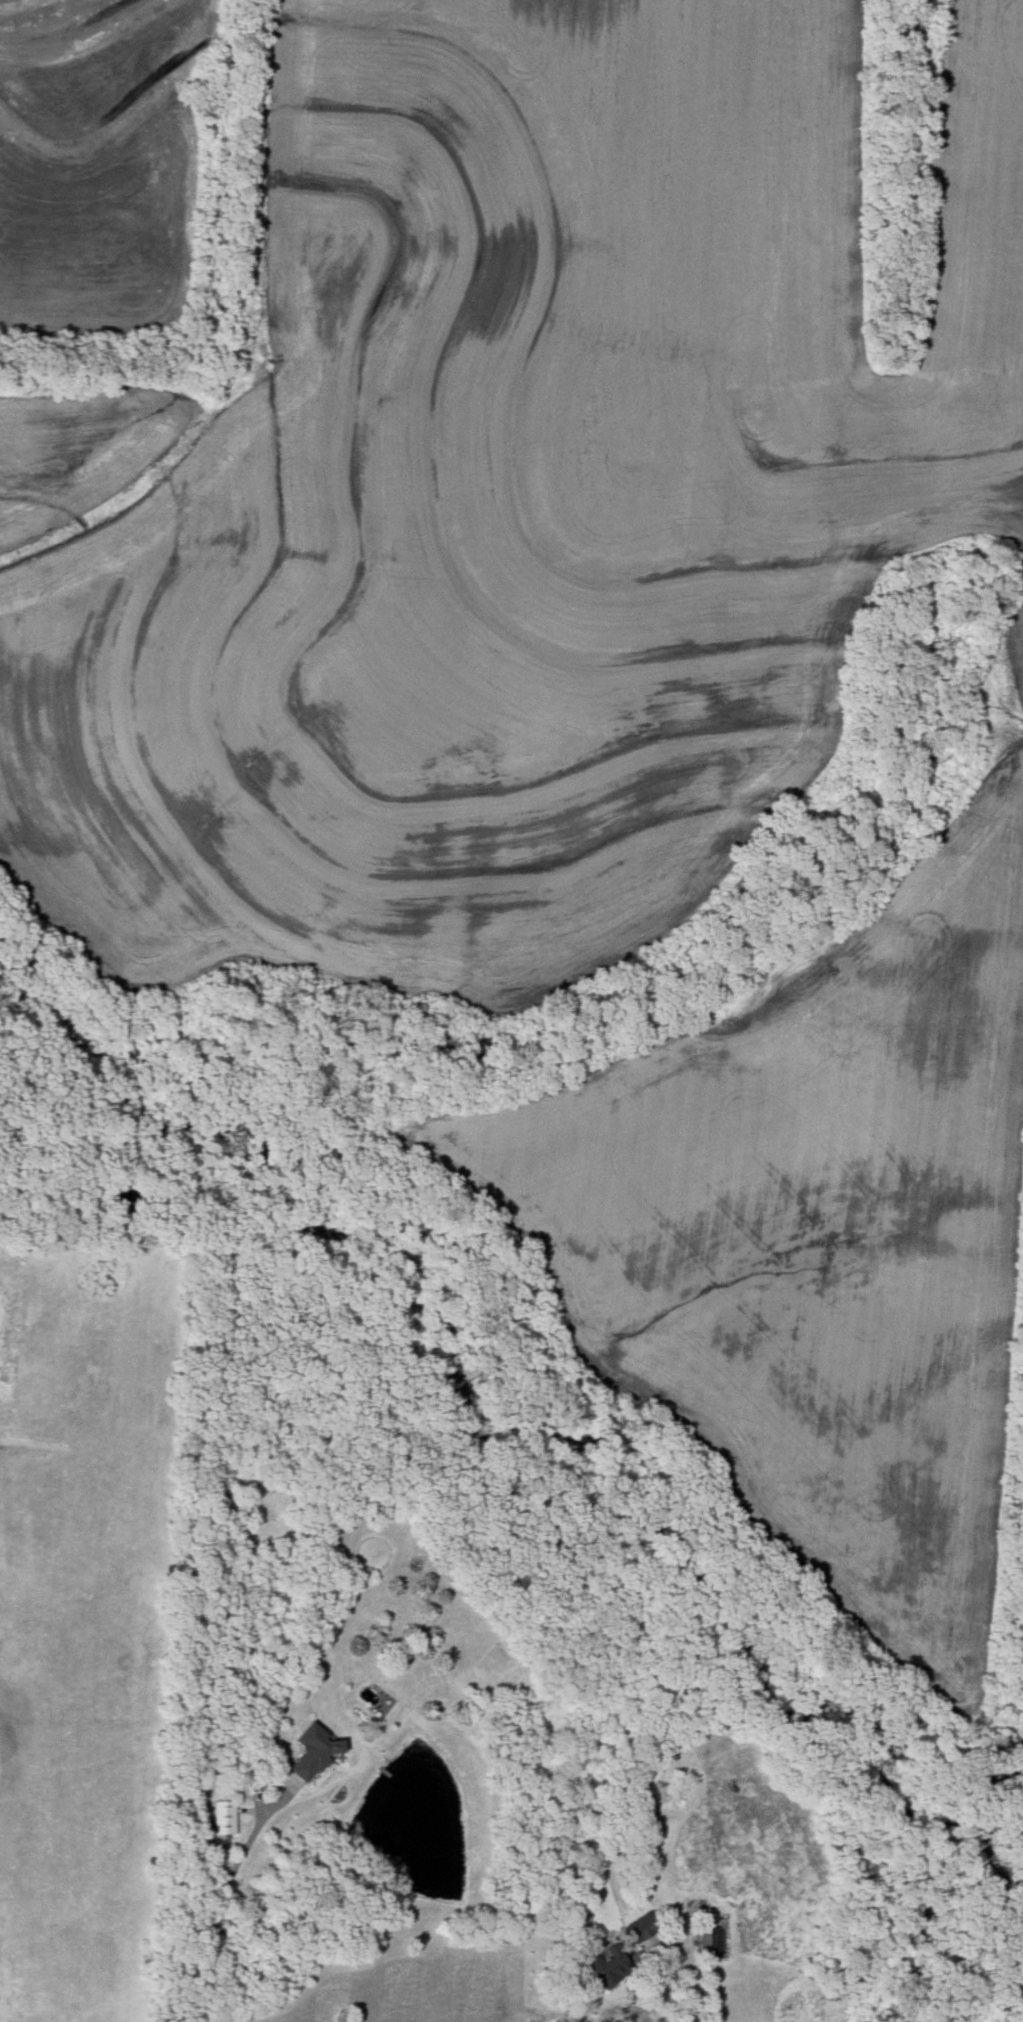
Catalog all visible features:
crop: (101, 161)
crop: (501, 498)
crop: (808, 1229)
building: (314, 1751)
road: (268, 1782)
building: (224, 1817)
road: (214, 1917)
building: (641, 1927)
building: (609, 1965)
road: (689, 1977)

